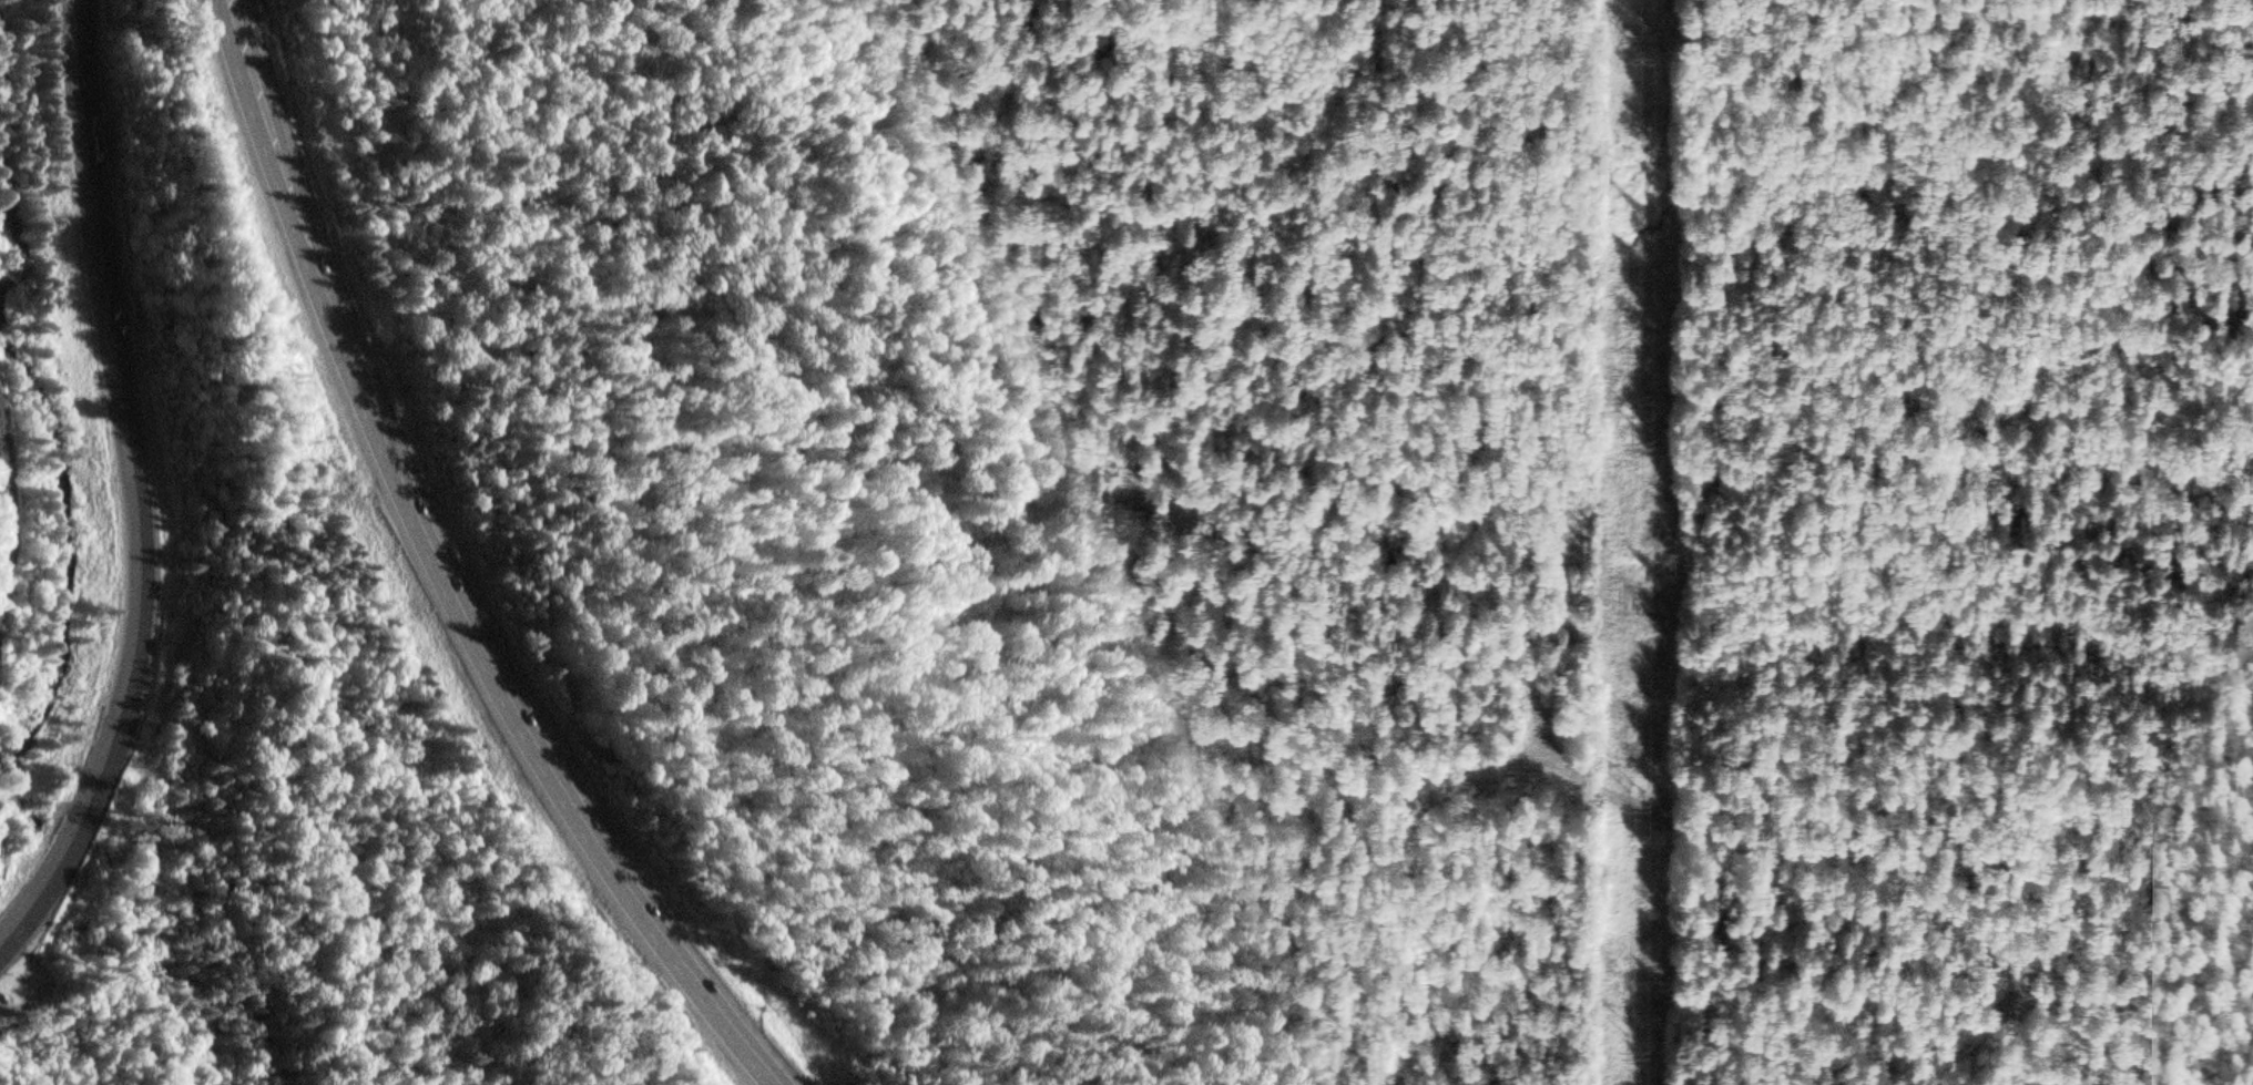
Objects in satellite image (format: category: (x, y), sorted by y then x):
power tower: (1643, 44)
road: (242, 55)
river: (30, 372)
power tower: (1641, 424)
road: (135, 490)
railway: (6, 514)
road: (466, 624)
river: (11, 754)
power tower: (1639, 792)
park: (318, 818)
parking lot: (17, 975)
power tower: (1640, 1037)
road: (27, 1071)

